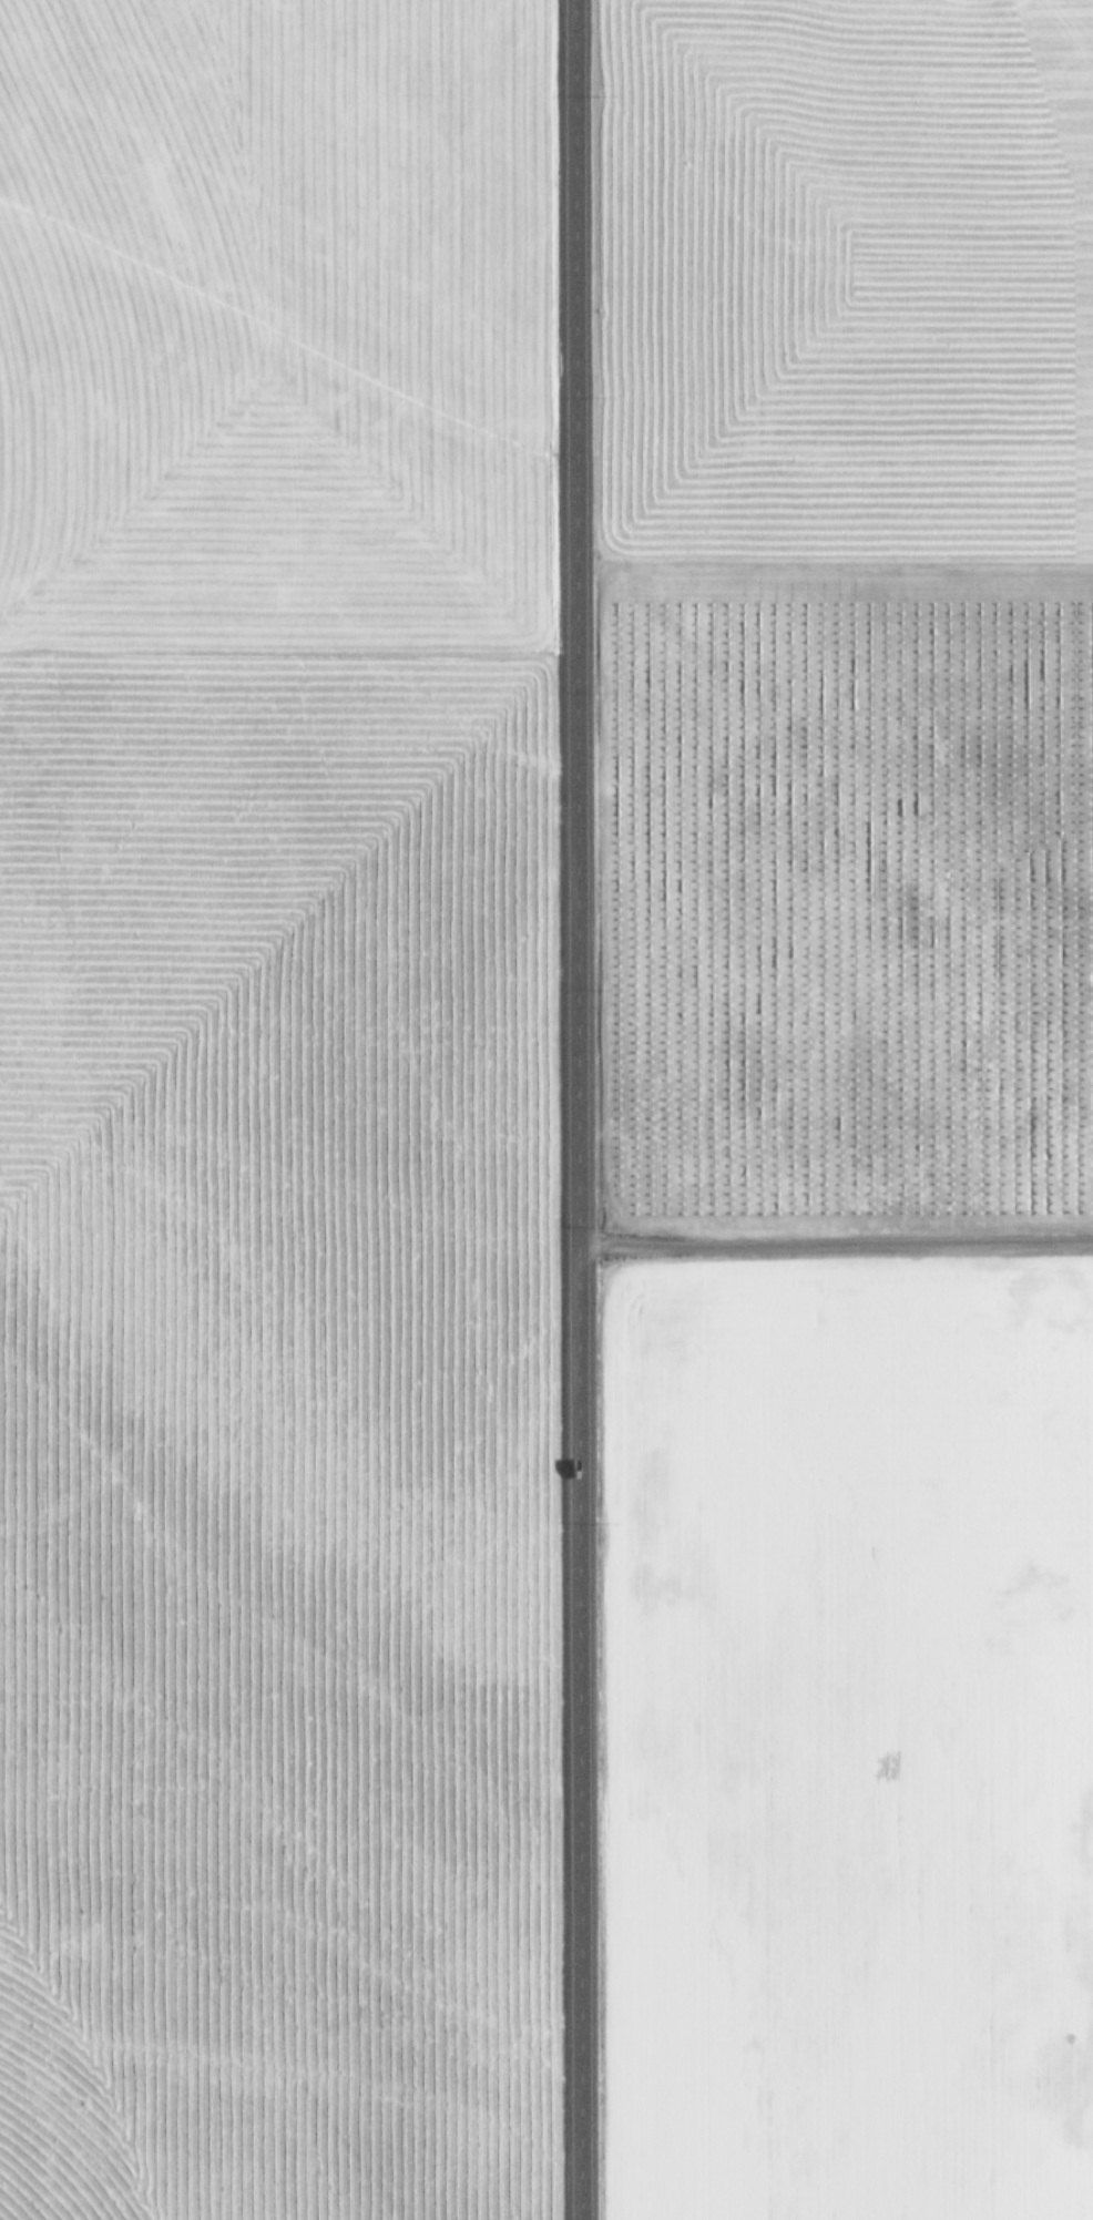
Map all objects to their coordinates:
crop: (268, 1109)
road: (569, 1109)
crop: (845, 1109)
road: (831, 1246)

